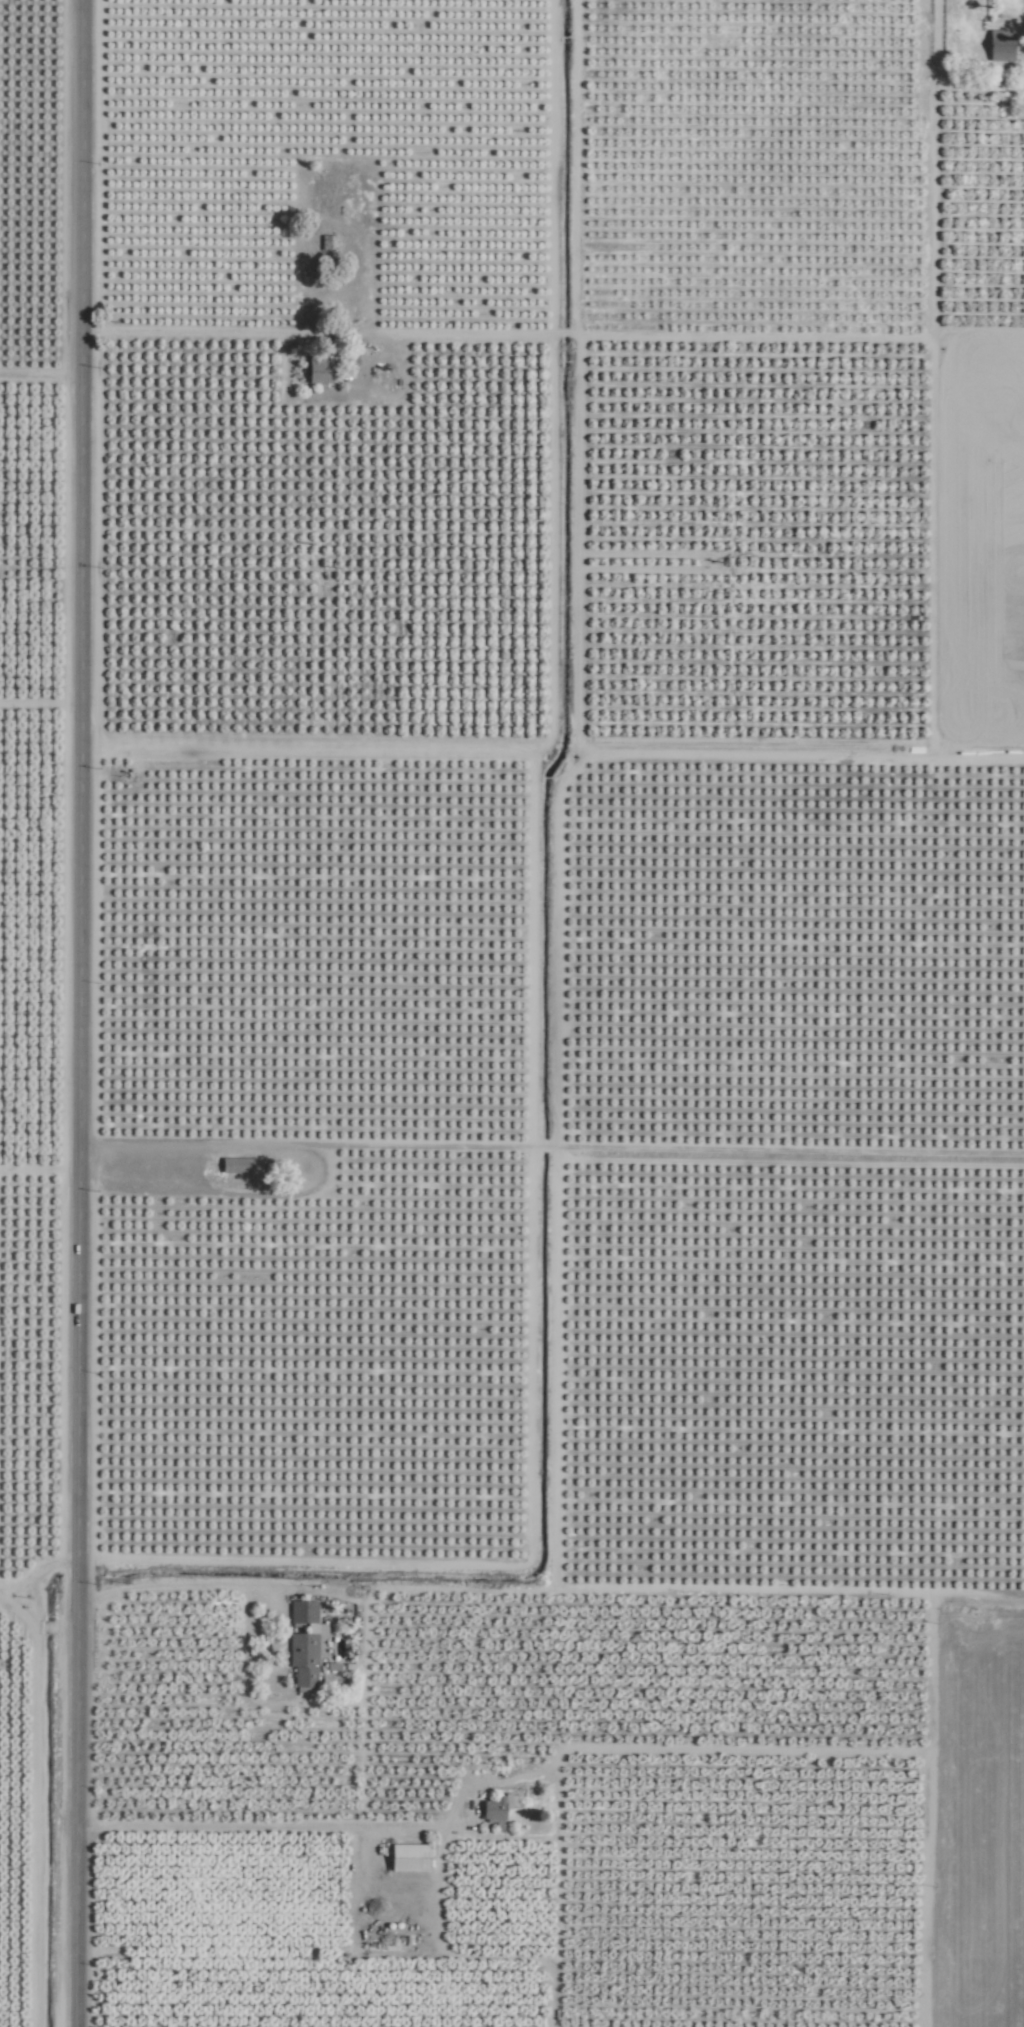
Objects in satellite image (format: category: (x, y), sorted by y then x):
road: (675, 337)
road: (80, 1013)
building: (240, 1166)
crop: (29, 1368)
road: (181, 1588)
building: (299, 1611)
road: (270, 1827)
building: (411, 1857)

